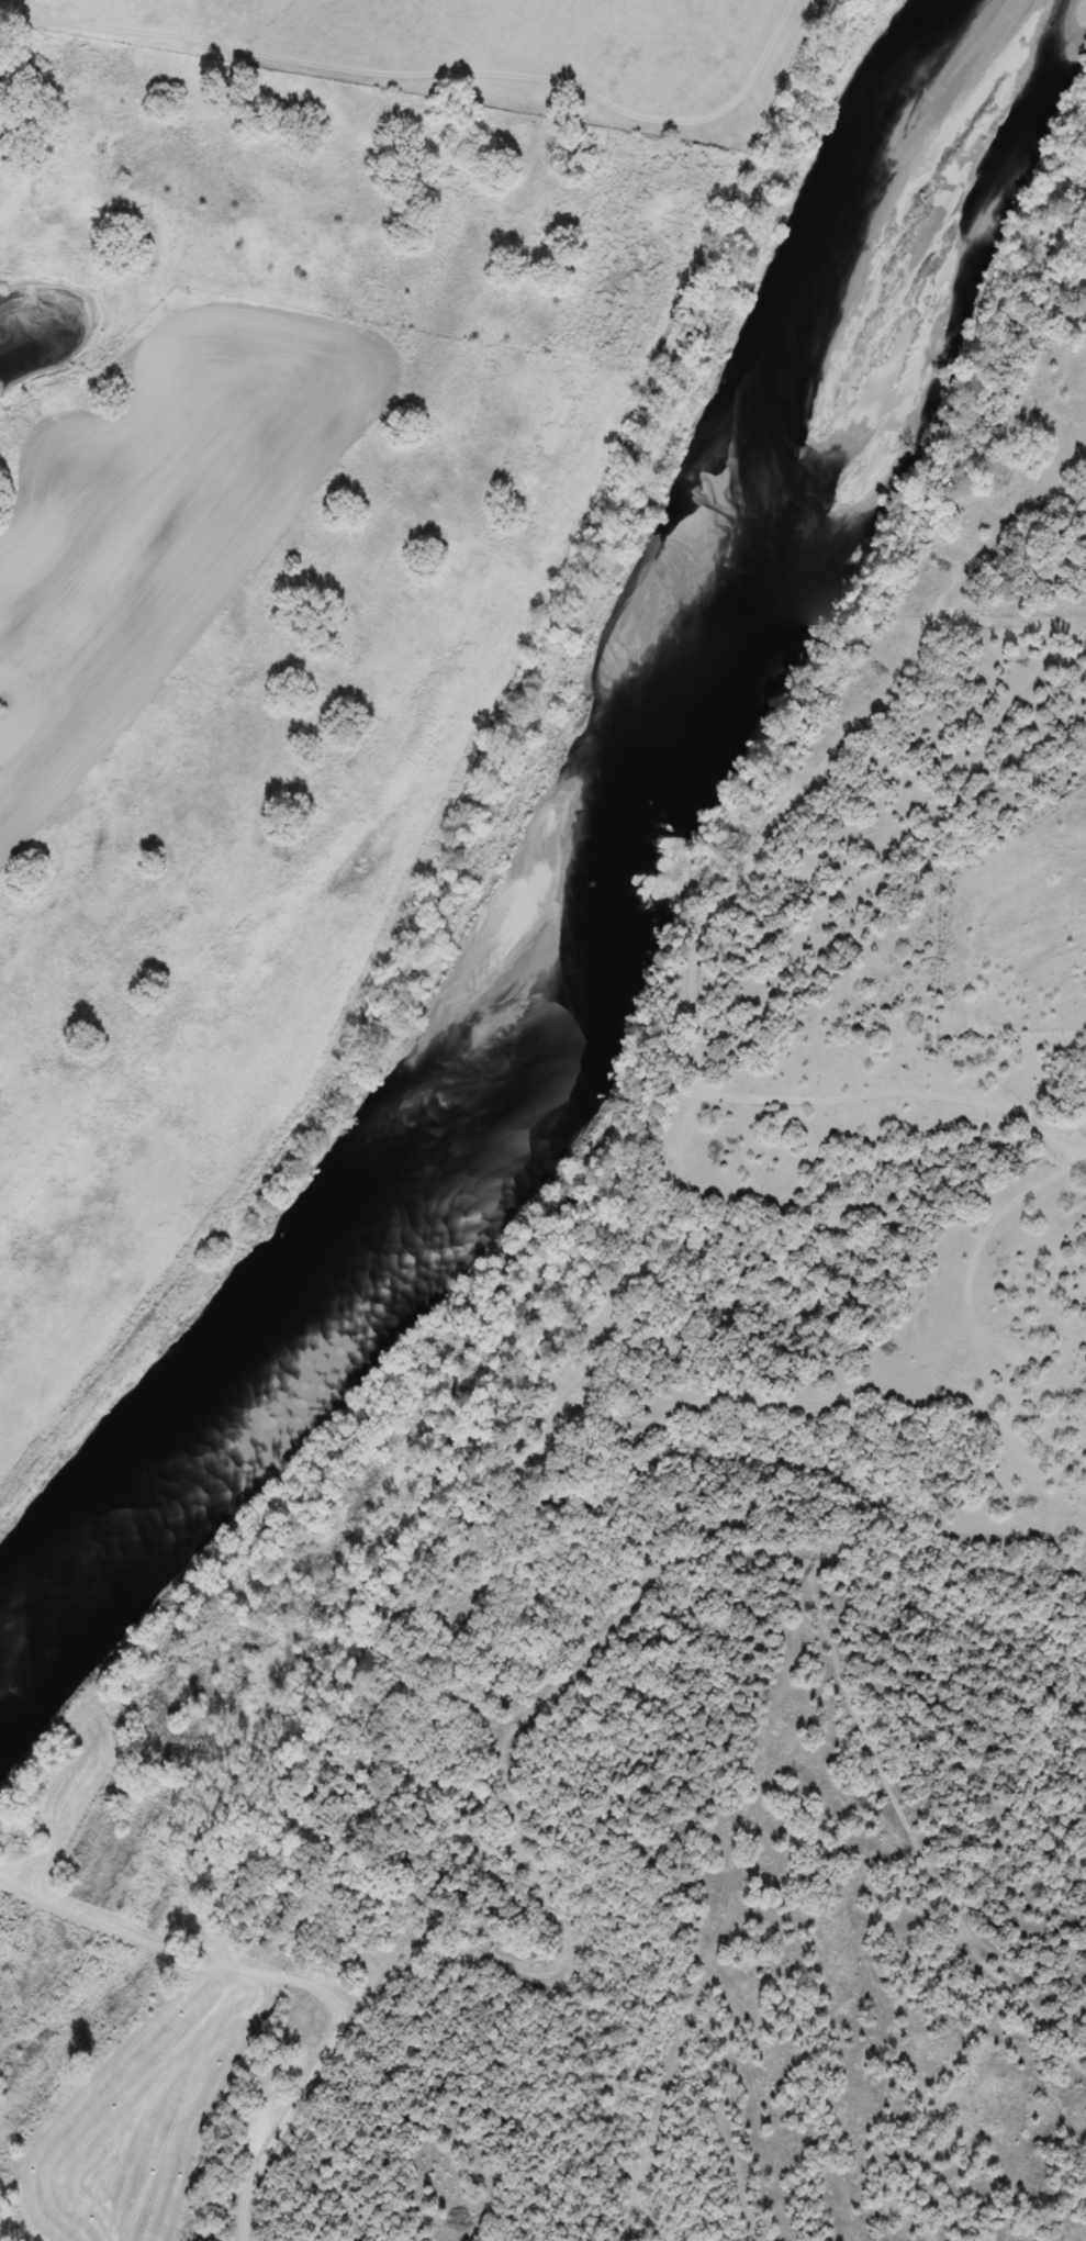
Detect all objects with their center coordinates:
river: (594, 903)

